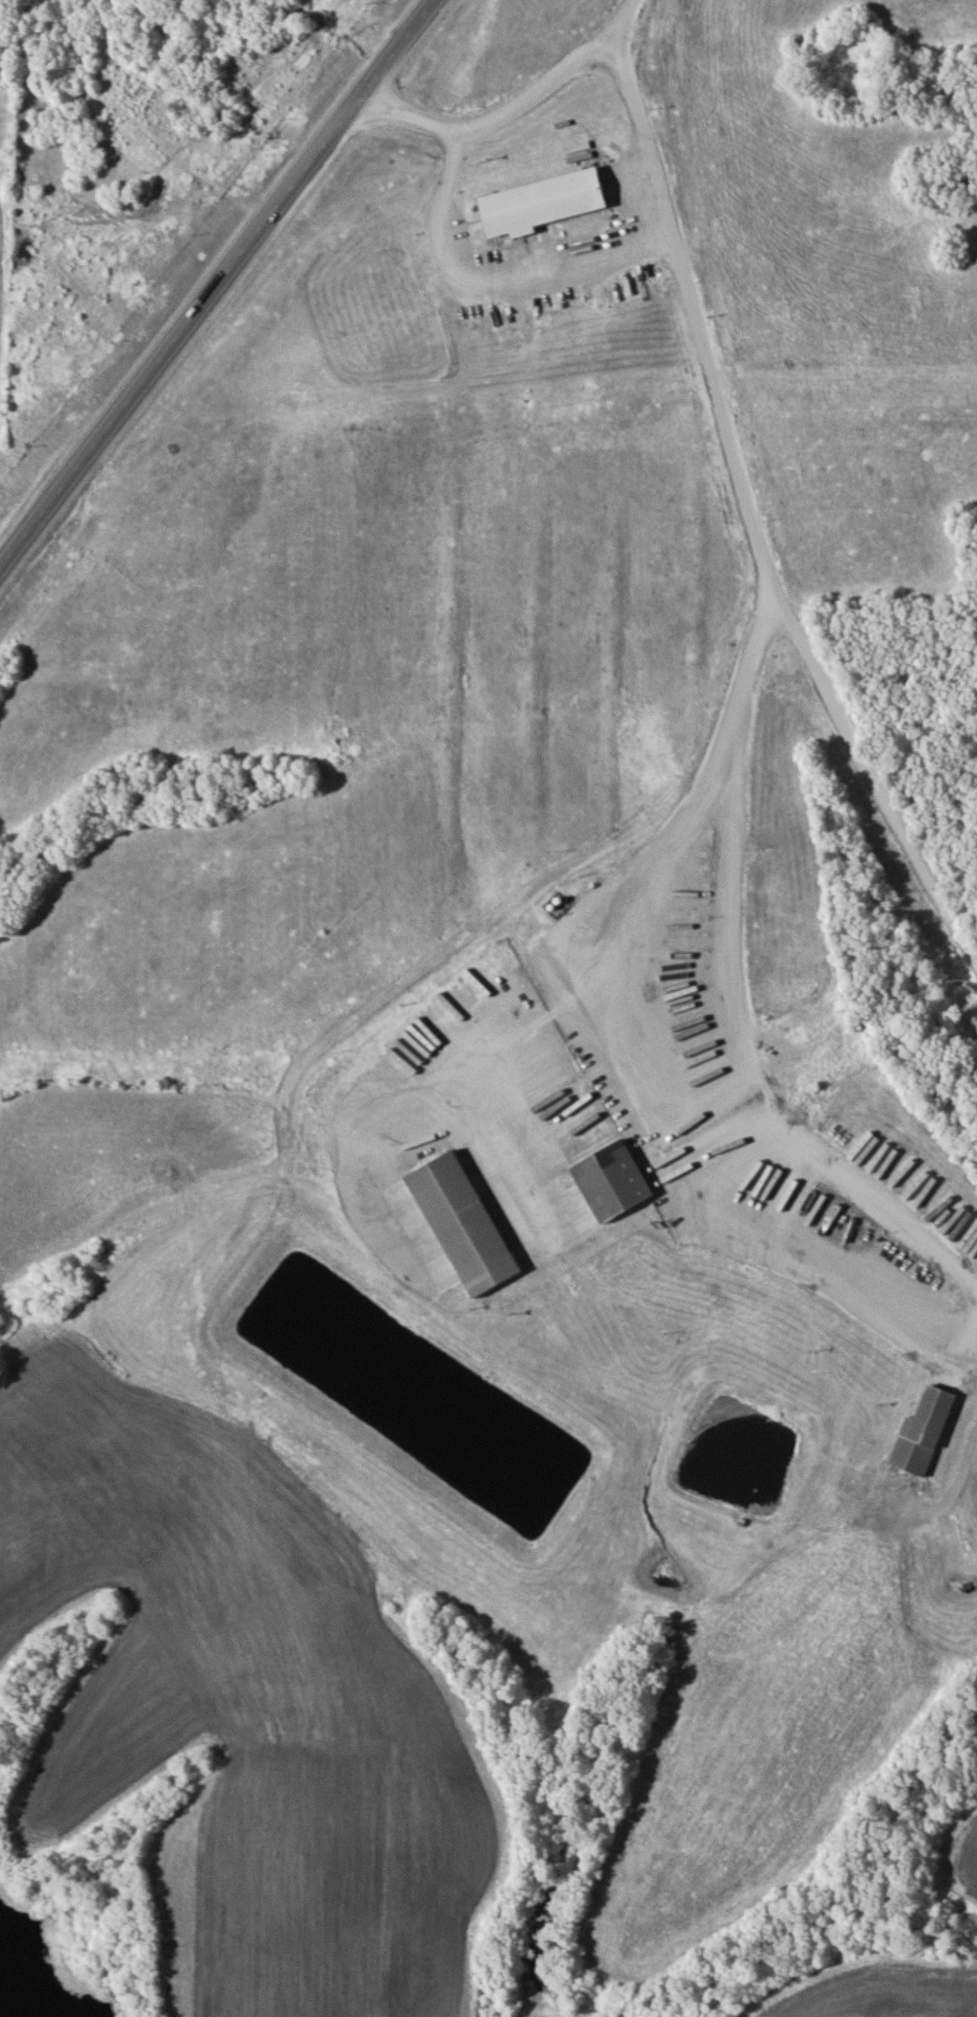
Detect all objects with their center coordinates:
road: (618, 24)
road: (395, 53)
road: (489, 122)
building: (540, 203)
road: (177, 339)
road: (749, 524)
building: (612, 1176)
building: (452, 1227)
building: (922, 1433)

